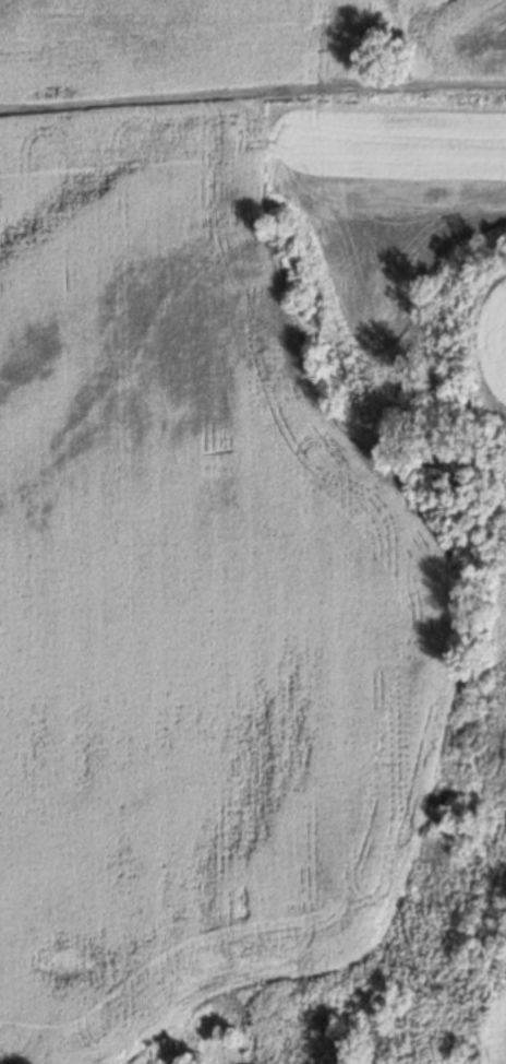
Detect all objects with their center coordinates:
road: (252, 90)

